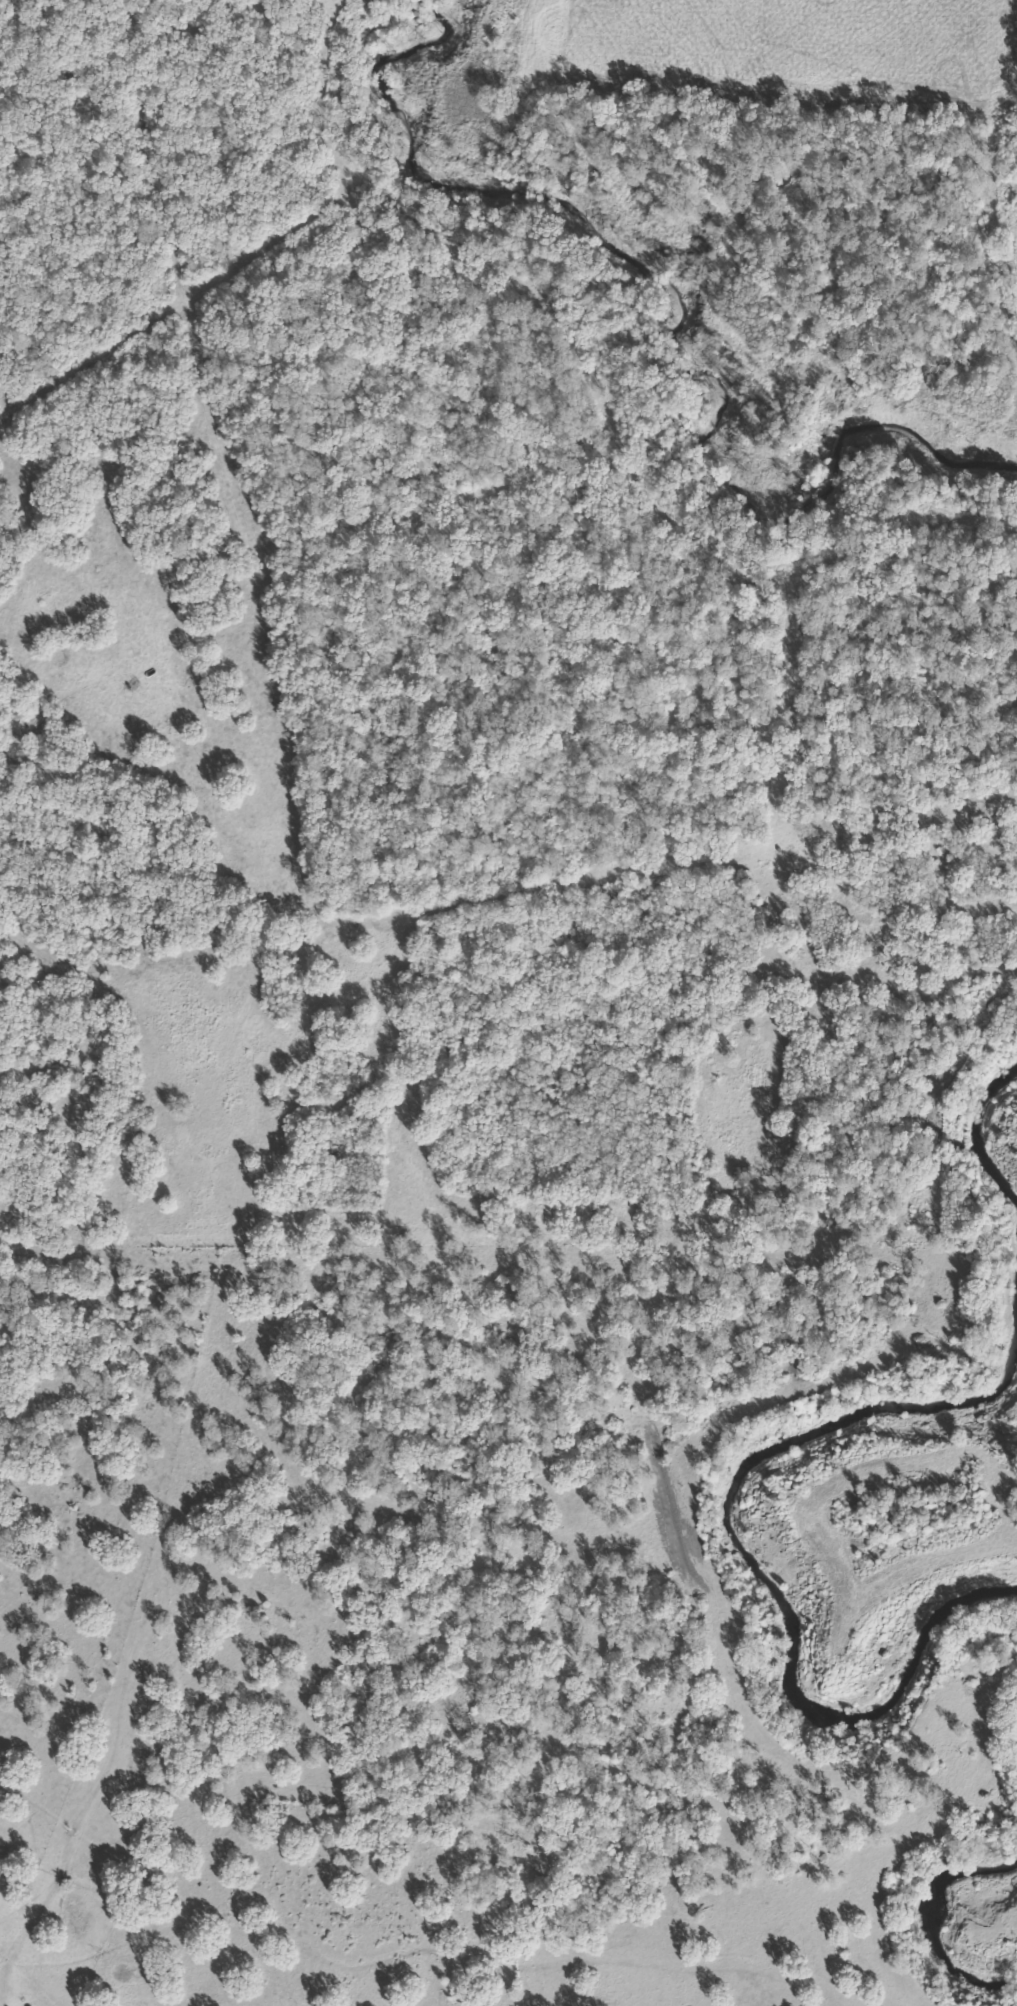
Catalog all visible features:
river: (980, 1154)
river: (738, 1555)
river: (920, 1948)

